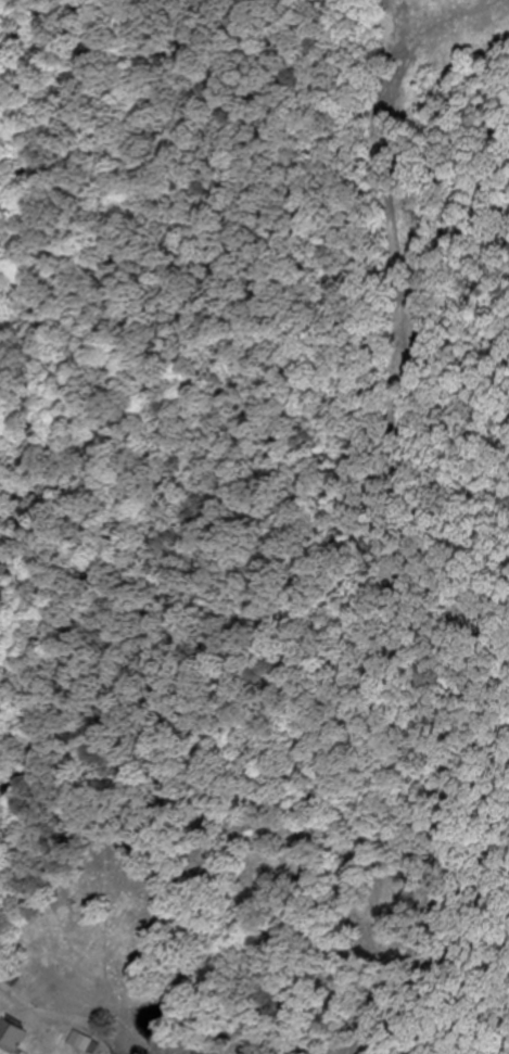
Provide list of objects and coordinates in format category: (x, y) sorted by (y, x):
building: (10, 1038)

